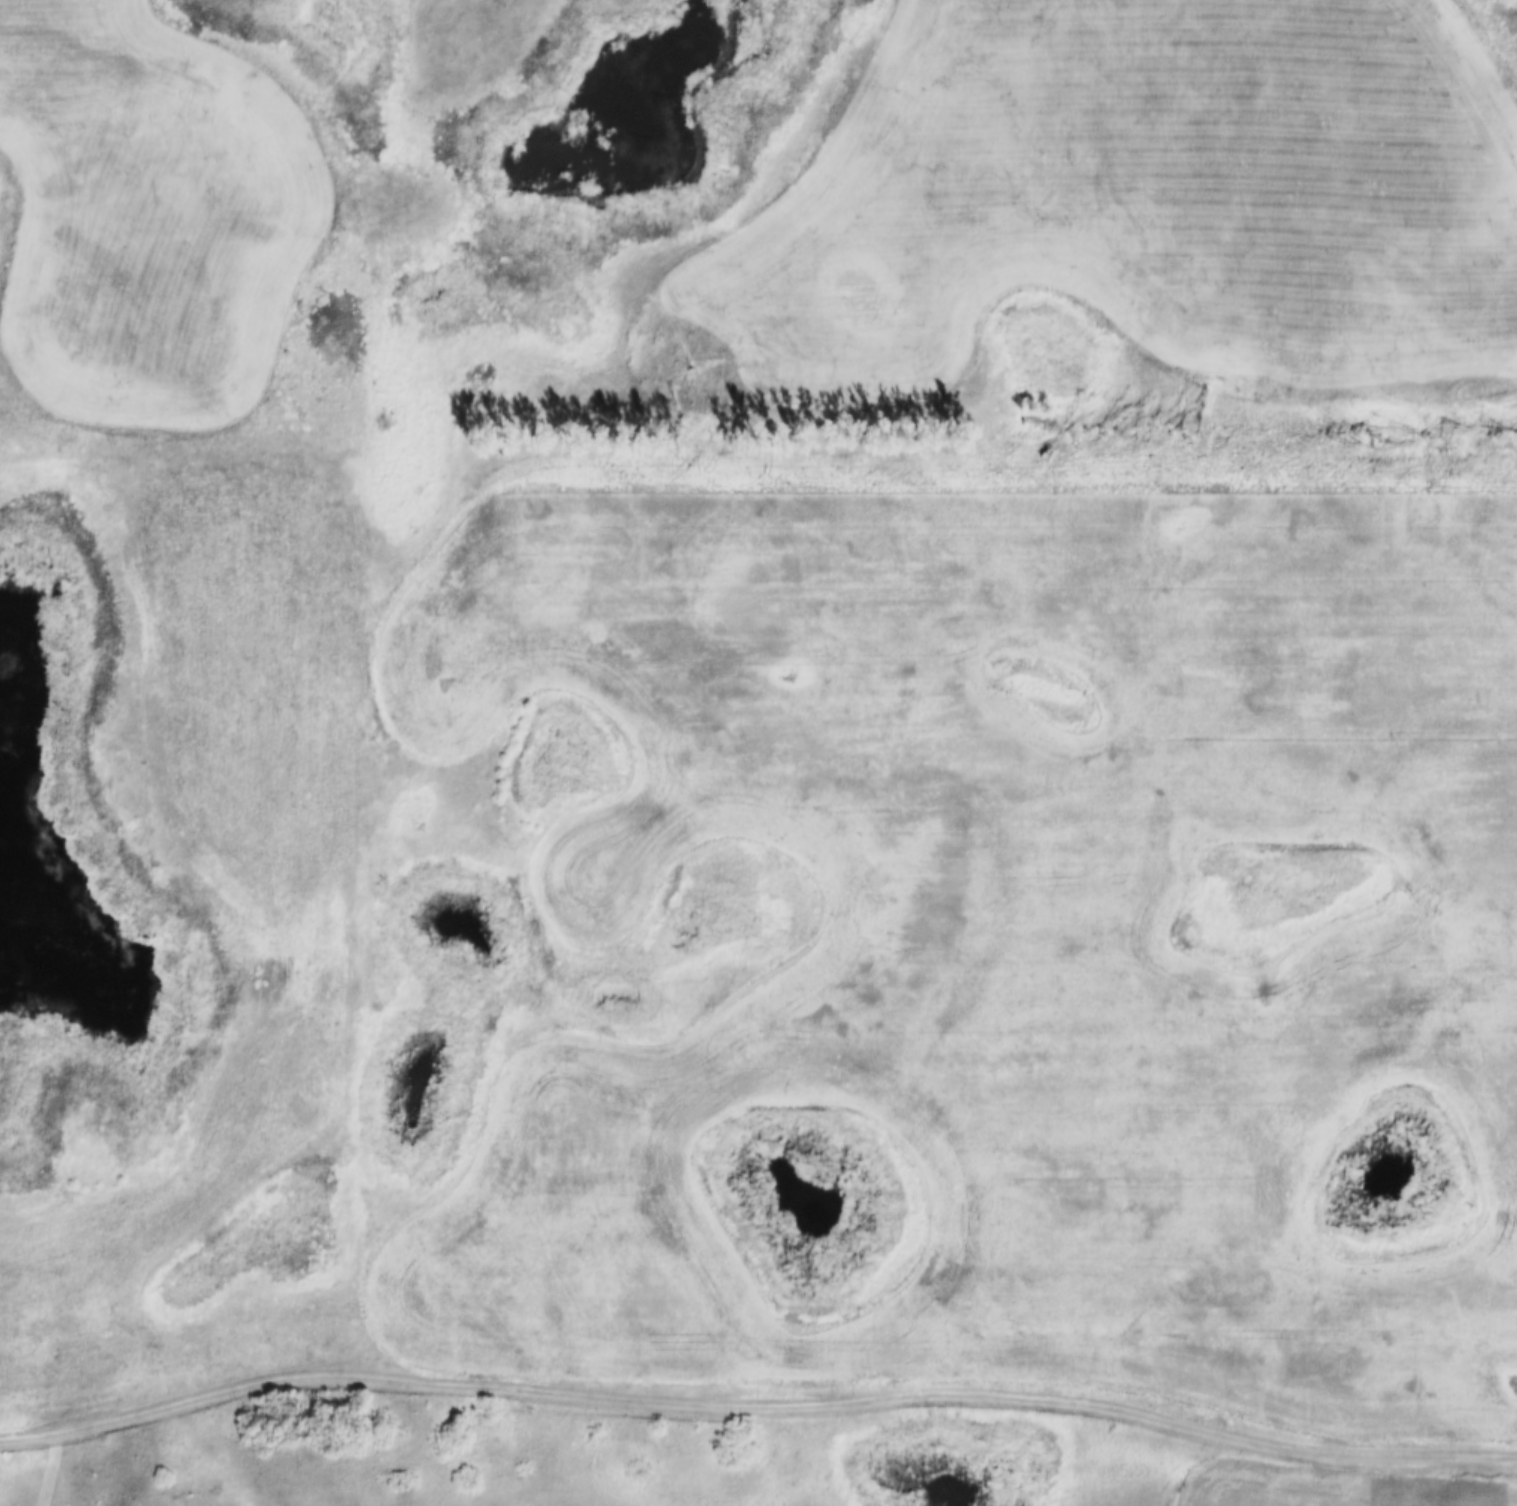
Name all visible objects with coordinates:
road: (757, 1404)

